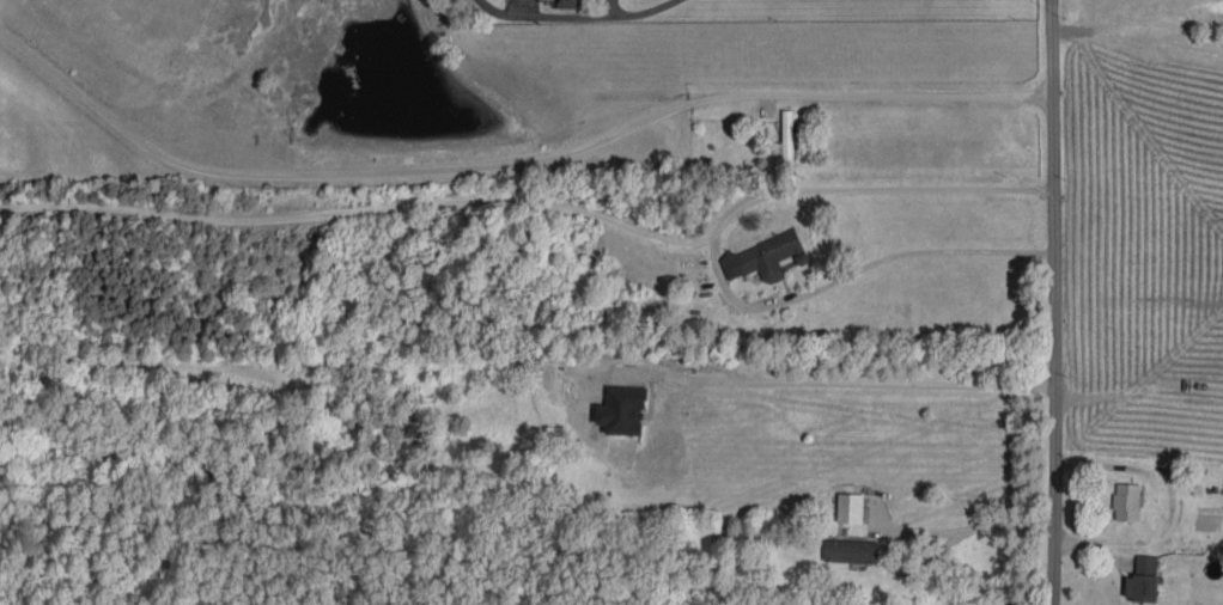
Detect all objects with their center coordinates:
building: (568, 4)
road: (638, 10)
building: (786, 140)
road: (507, 164)
road: (537, 202)
building: (765, 256)
road: (852, 273)
road: (1055, 302)
road: (858, 383)
building: (622, 410)
building: (1126, 501)
building: (850, 507)
road: (981, 525)
building: (850, 550)
building: (1143, 579)

